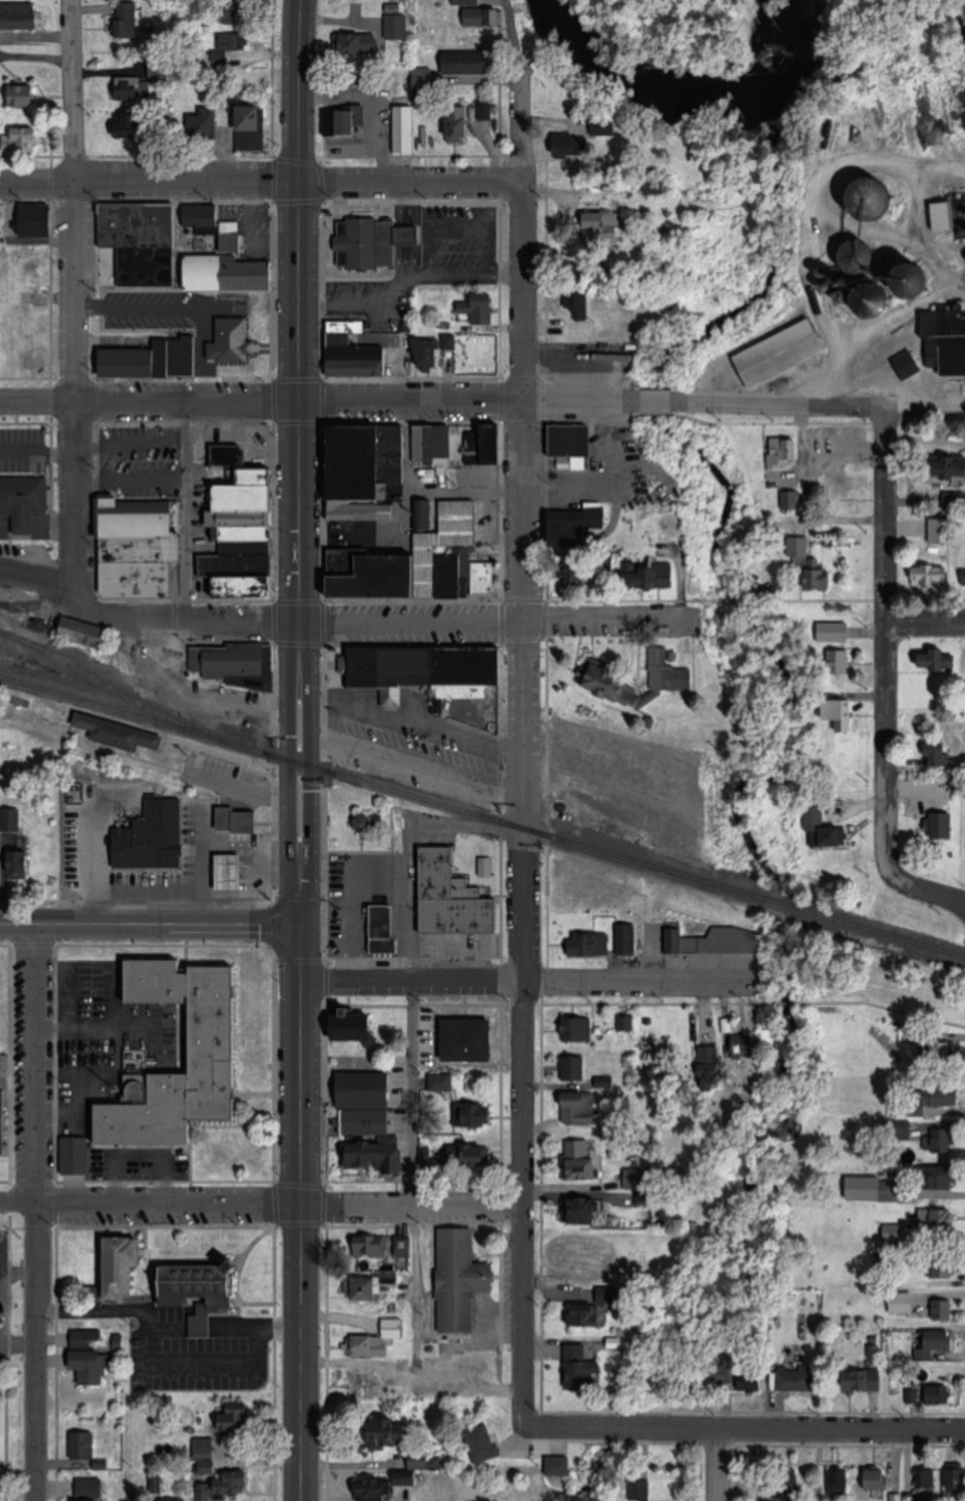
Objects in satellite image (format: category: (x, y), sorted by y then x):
building: (464, 2)
building: (19, 16)
building: (233, 18)
building: (481, 18)
building: (126, 20)
building: (396, 25)
river: (855, 36)
building: (232, 42)
building: (357, 45)
building: (466, 63)
building: (160, 68)
river: (680, 88)
building: (129, 89)
building: (423, 91)
building: (25, 96)
building: (486, 111)
building: (351, 122)
building: (205, 124)
building: (460, 125)
building: (129, 126)
building: (601, 126)
building: (253, 129)
building: (405, 129)
building: (20, 143)
road: (262, 184)
building: (659, 192)
building: (942, 217)
building: (37, 221)
building: (233, 233)
road: (820, 241)
building: (141, 242)
building: (372, 244)
road: (74, 300)
building: (580, 306)
building: (480, 310)
building: (142, 313)
building: (206, 317)
building: (355, 353)
building: (781, 354)
building: (430, 355)
building: (906, 358)
road: (482, 398)
building: (434, 442)
building: (572, 445)
building: (488, 447)
building: (783, 450)
building: (368, 458)
road: (299, 463)
building: (947, 472)
road: (468, 493)
building: (24, 501)
building: (954, 501)
road: (187, 508)
building: (360, 511)
road: (410, 521)
building: (245, 536)
building: (138, 547)
building: (423, 563)
building: (810, 564)
building: (652, 576)
building: (572, 577)
building: (932, 580)
road: (556, 599)
road: (866, 599)
road: (738, 600)
road: (344, 618)
road: (925, 618)
building: (834, 632)
building: (84, 634)
building: (935, 659)
building: (838, 662)
building: (227, 663)
road: (885, 667)
building: (430, 669)
building: (598, 671)
building: (667, 672)
railway: (117, 692)
road: (525, 705)
building: (839, 713)
road: (414, 720)
building: (118, 733)
building: (938, 757)
building: (605, 760)
building: (711, 806)
railway: (482, 817)
building: (234, 819)
building: (9, 821)
building: (942, 825)
building: (638, 828)
building: (163, 836)
building: (829, 837)
building: (82, 840)
road: (408, 847)
building: (18, 864)
building: (230, 871)
road: (957, 896)
building: (453, 898)
road: (151, 925)
building: (382, 929)
building: (626, 939)
building: (713, 942)
building: (589, 944)
road: (525, 980)
building: (626, 1023)
building: (354, 1029)
building: (577, 1029)
building: (215, 1038)
building: (468, 1040)
building: (739, 1052)
building: (943, 1054)
building: (573, 1068)
building: (711, 1073)
building: (941, 1101)
building: (3, 1103)
building: (581, 1109)
building: (365, 1112)
building: (478, 1117)
building: (936, 1141)
building: (72, 1156)
building: (371, 1156)
building: (470, 1160)
building: (579, 1162)
building: (937, 1178)
road: (414, 1182)
building: (889, 1191)
road: (261, 1205)
road: (35, 1212)
building: (583, 1212)
road: (301, 1214)
building: (936, 1219)
building: (369, 1245)
building: (401, 1247)
building: (121, 1265)
building: (582, 1268)
building: (460, 1279)
building: (371, 1287)
building: (201, 1295)
building: (608, 1295)
building: (586, 1316)
road: (162, 1331)
building: (377, 1340)
building: (933, 1347)
park: (10, 1357)
building: (90, 1366)
road: (201, 1368)
building: (581, 1374)
building: (722, 1379)
building: (796, 1379)
building: (864, 1381)
road: (411, 1382)
building: (751, 1384)
building: (364, 1388)
building: (938, 1396)
building: (236, 1419)
road: (734, 1428)
building: (387, 1435)
building: (482, 1444)
building: (81, 1446)
road: (716, 1464)
building: (557, 1466)
building: (877, 1479)
building: (955, 1479)
building: (839, 1483)
building: (219, 1488)
building: (375, 1489)
building: (640, 1491)
building: (88, 1494)

